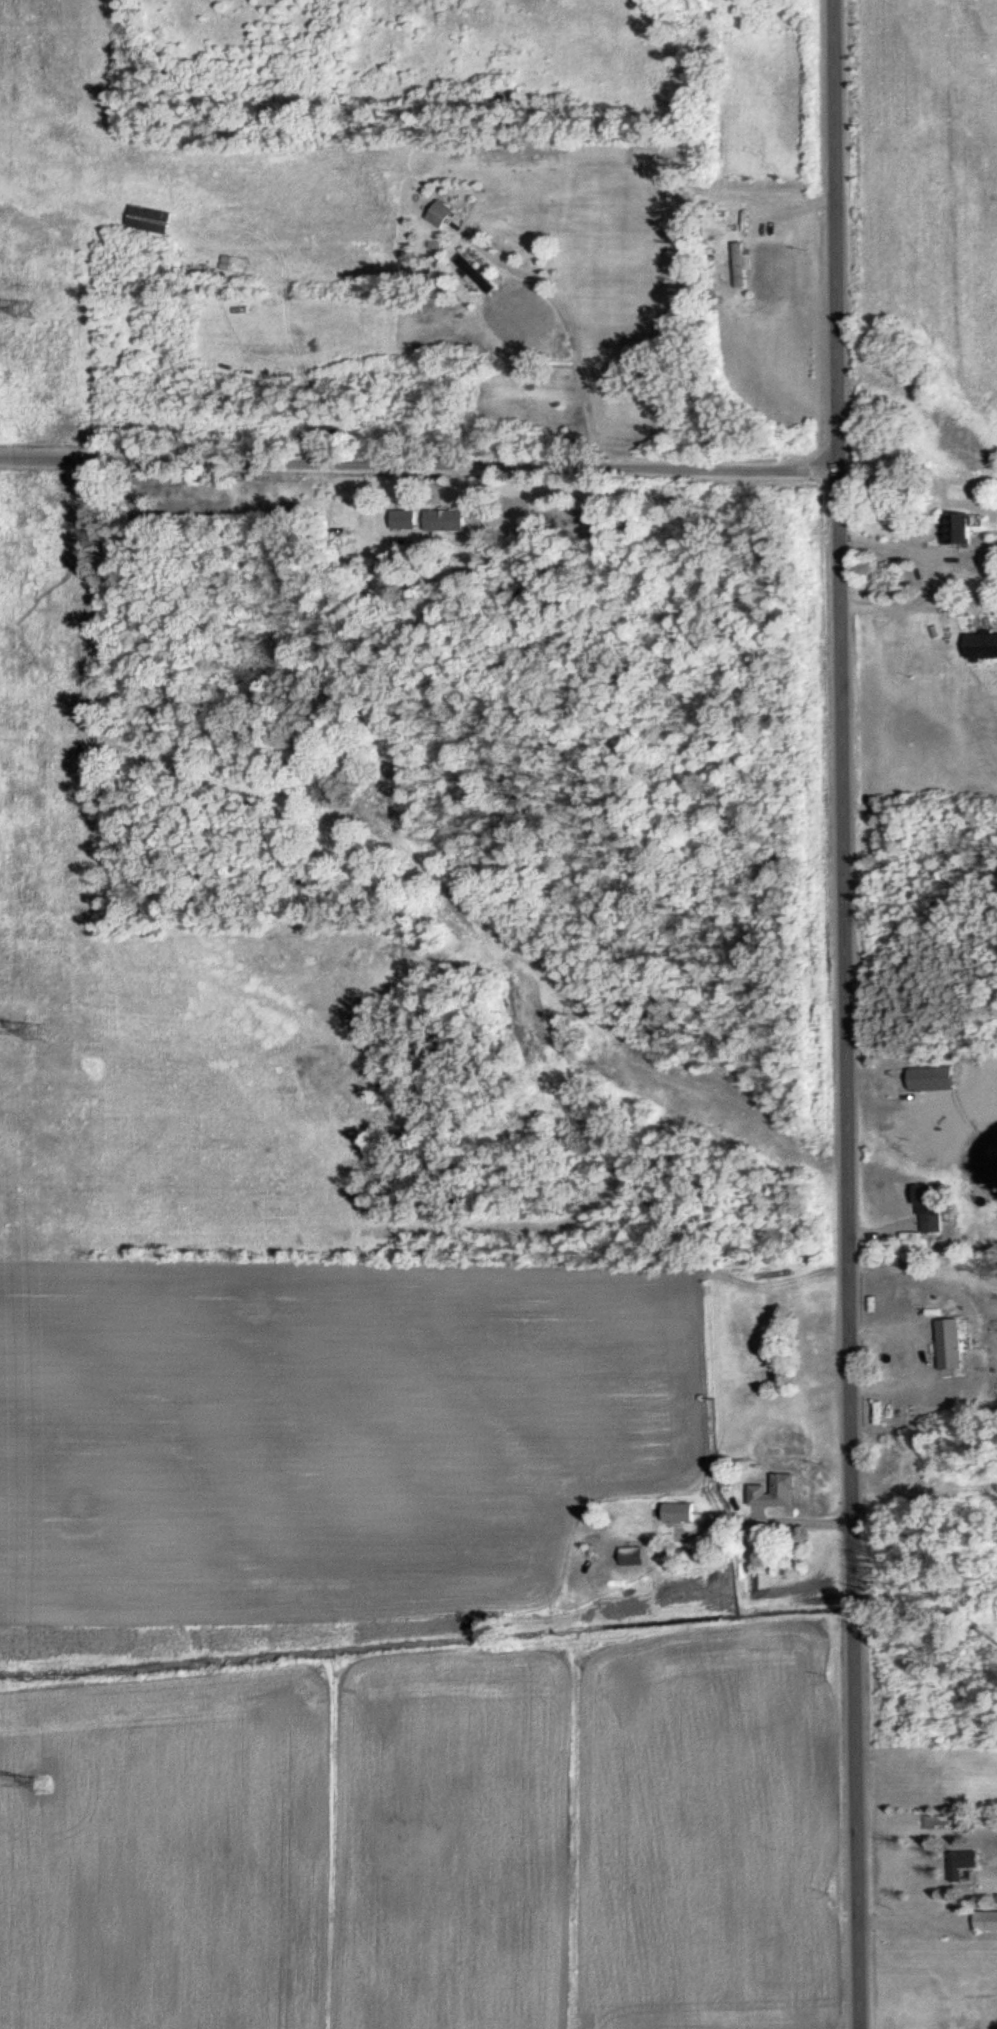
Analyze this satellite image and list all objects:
building: (444, 214)
building: (742, 265)
building: (481, 275)
power tower: (27, 310)
road: (566, 326)
road: (420, 461)
building: (407, 519)
building: (447, 519)
building: (964, 527)
building: (984, 646)
road: (847, 1014)
power tower: (36, 1032)
building: (935, 1079)
building: (937, 1208)
building: (957, 1344)
building: (777, 1491)
building: (681, 1513)
building: (635, 1557)
power tower: (43, 1787)
building: (970, 1860)
road: (913, 1921)
building: (986, 1921)

